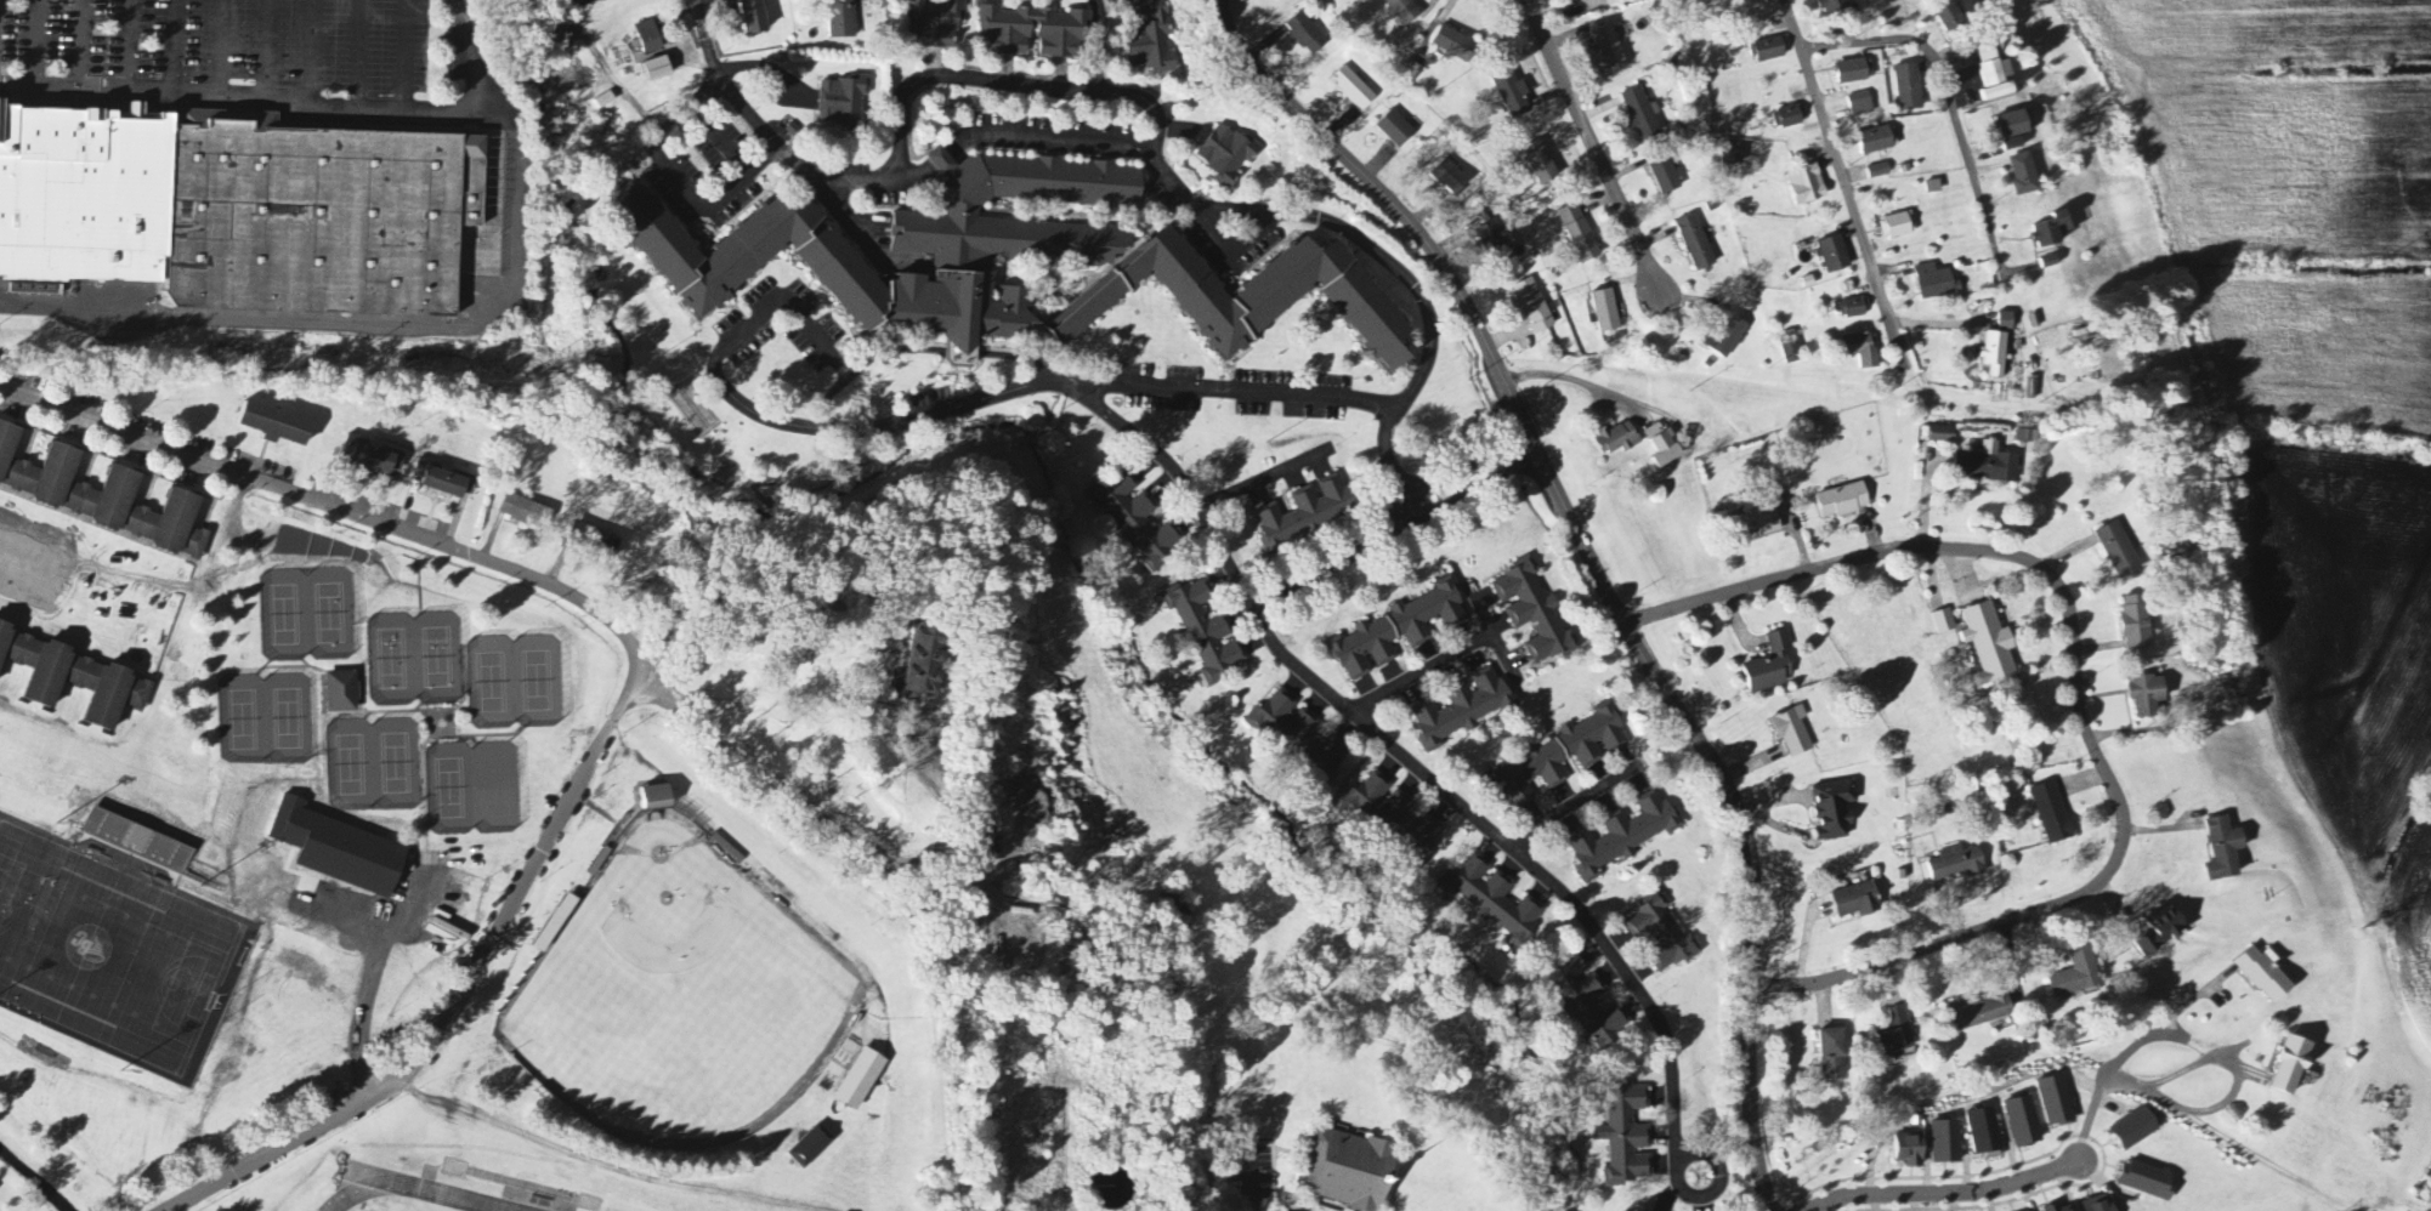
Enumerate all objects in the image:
building: (1580, 0)
building: (1625, 1)
building: (1835, 6)
building: (1404, 11)
road: (686, 13)
building: (754, 17)
building: (1950, 18)
building: (841, 19)
building: (935, 24)
building: (1305, 34)
building: (1149, 36)
building: (648, 38)
parking lot: (228, 39)
building: (1062, 42)
road: (35, 44)
road: (83, 45)
road: (1098, 45)
building: (1455, 45)
road: (130, 46)
road: (176, 47)
building: (1609, 47)
road: (222, 49)
road: (268, 50)
building: (1768, 50)
road: (313, 51)
road: (357, 52)
road: (404, 53)
road: (475, 56)
building: (1991, 67)
building: (658, 69)
building: (1855, 72)
road: (1008, 84)
building: (1908, 87)
building: (1353, 89)
building: (1996, 92)
building: (1512, 95)
road: (246, 100)
road: (1953, 100)
building: (844, 102)
building: (1860, 106)
building: (1640, 114)
building: (1787, 118)
building: (2013, 125)
building: (1394, 130)
road: (718, 141)
building: (1877, 141)
building: (2013, 144)
road: (1593, 152)
building: (1226, 154)
building: (1733, 154)
road: (1156, 161)
building: (1540, 164)
building: (1880, 171)
building: (2024, 175)
road: (676, 177)
building: (1666, 177)
building: (1450, 178)
road: (1844, 181)
building: (1808, 186)
building: (1933, 187)
building: (84, 195)
road: (846, 215)
building: (321, 217)
building: (1897, 226)
building: (2053, 231)
building: (1579, 234)
building: (1494, 239)
building: (1696, 243)
building: (1835, 255)
power tower: (2371, 263)
building: (1937, 283)
building: (1534, 307)
building: (1853, 309)
building: (1605, 312)
building: (2007, 322)
road: (357, 324)
building: (1725, 337)
building: (1863, 351)
road: (964, 352)
building: (1792, 353)
building: (1995, 354)
road: (1021, 358)
road: (865, 363)
power tower: (1470, 379)
road: (1566, 379)
road: (1240, 392)
power tower: (1694, 392)
power tower: (2044, 402)
road: (1054, 403)
building: (270, 421)
road: (784, 423)
building: (1942, 436)
road: (1028, 437)
building: (1617, 439)
building: (1664, 445)
building: (369, 454)
building: (1988, 465)
building: (440, 477)
road: (1260, 478)
road: (1180, 482)
building: (104, 498)
building: (1843, 501)
building: (522, 508)
building: (1308, 513)
building: (1135, 521)
building: (1763, 523)
road: (799, 530)
building: (590, 538)
building: (2118, 551)
road: (1594, 565)
park: (308, 612)
park: (331, 612)
building: (1534, 613)
park: (285, 614)
building: (1944, 622)
building: (2136, 622)
building: (1398, 631)
building: (1206, 632)
building: (1989, 646)
building: (920, 655)
park: (414, 658)
park: (437, 658)
park: (392, 660)
building: (1772, 666)
road: (1422, 670)
building: (74, 675)
park: (512, 681)
park: (535, 681)
park: (489, 682)
road: (636, 686)
building: (342, 693)
road: (2079, 695)
building: (2147, 695)
building: (1463, 709)
park: (263, 717)
park: (287, 718)
park: (242, 720)
building: (1792, 733)
building: (1298, 734)
road: (1393, 746)
building: (1562, 756)
park: (373, 763)
park: (396, 763)
park: (350, 764)
park: (474, 788)
park: (495, 788)
park: (450, 790)
building: (651, 796)
road: (1571, 805)
building: (1835, 811)
building: (2052, 813)
building: (1393, 815)
building: (284, 818)
road: (839, 832)
building: (1623, 836)
building: (2225, 849)
building: (1957, 864)
parking lot: (399, 896)
building: (1494, 899)
building: (1858, 902)
building: (551, 922)
building: (2161, 931)
building: (1661, 934)
stadium: (113, 949)
building: (2076, 974)
building: (2266, 974)
road: (372, 980)
park: (681, 999)
building: (1588, 1004)
building: (1979, 1014)
road: (2171, 1019)
building: (1895, 1034)
building: (1834, 1056)
building: (2293, 1067)
road: (2114, 1076)
building: (858, 1079)
road: (2235, 1095)
building: (2058, 1103)
road: (2090, 1115)
building: (2024, 1122)
building: (2136, 1130)
building: (1985, 1132)
building: (1627, 1137)
building: (1946, 1143)
building: (811, 1148)
building: (1909, 1150)
building: (1347, 1167)
road: (1254, 1172)
building: (2148, 1181)
track: (391, 1193)
road: (1684, 1193)
road: (1945, 1193)
building: (2101, 1204)
building: (2059, 1209)

